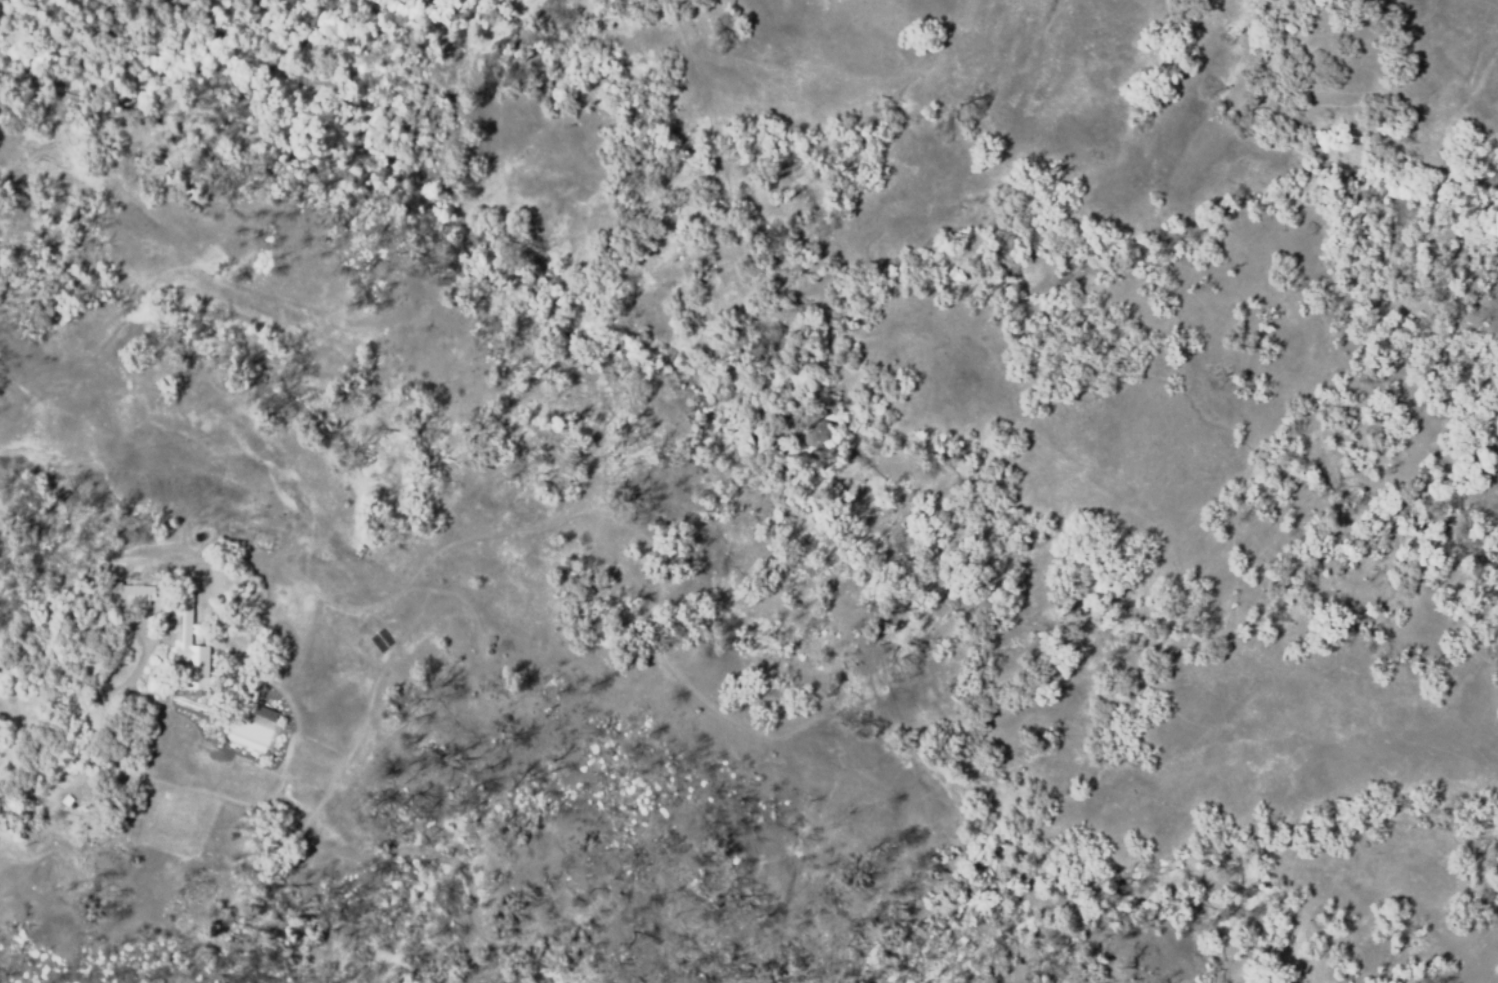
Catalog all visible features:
building: (136, 593)
building: (188, 647)
building: (261, 711)
building: (218, 738)

